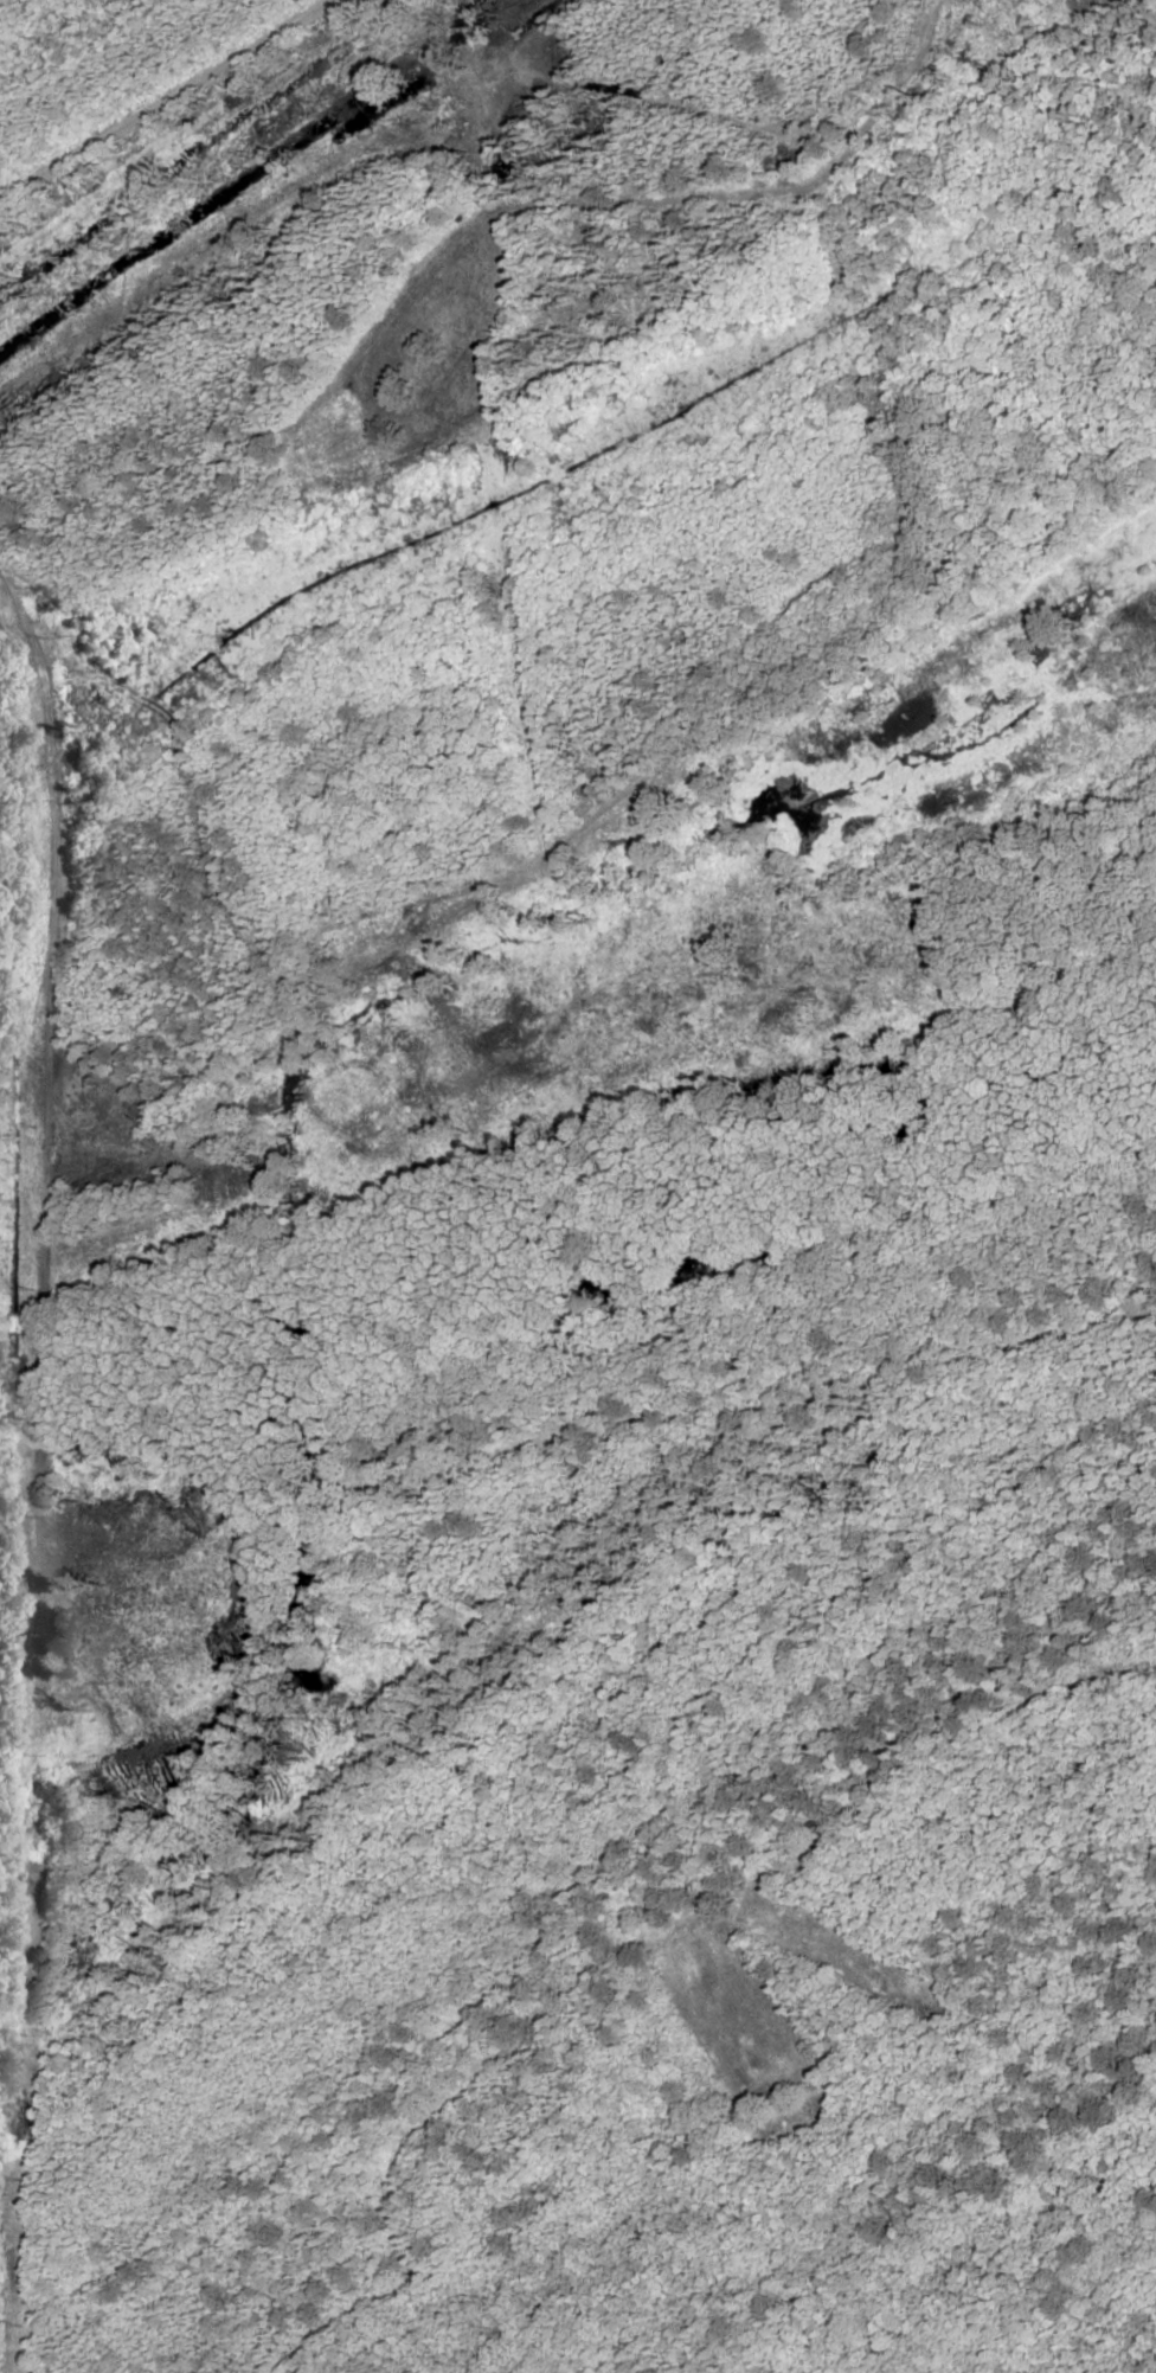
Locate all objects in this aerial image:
road: (161, 98)

